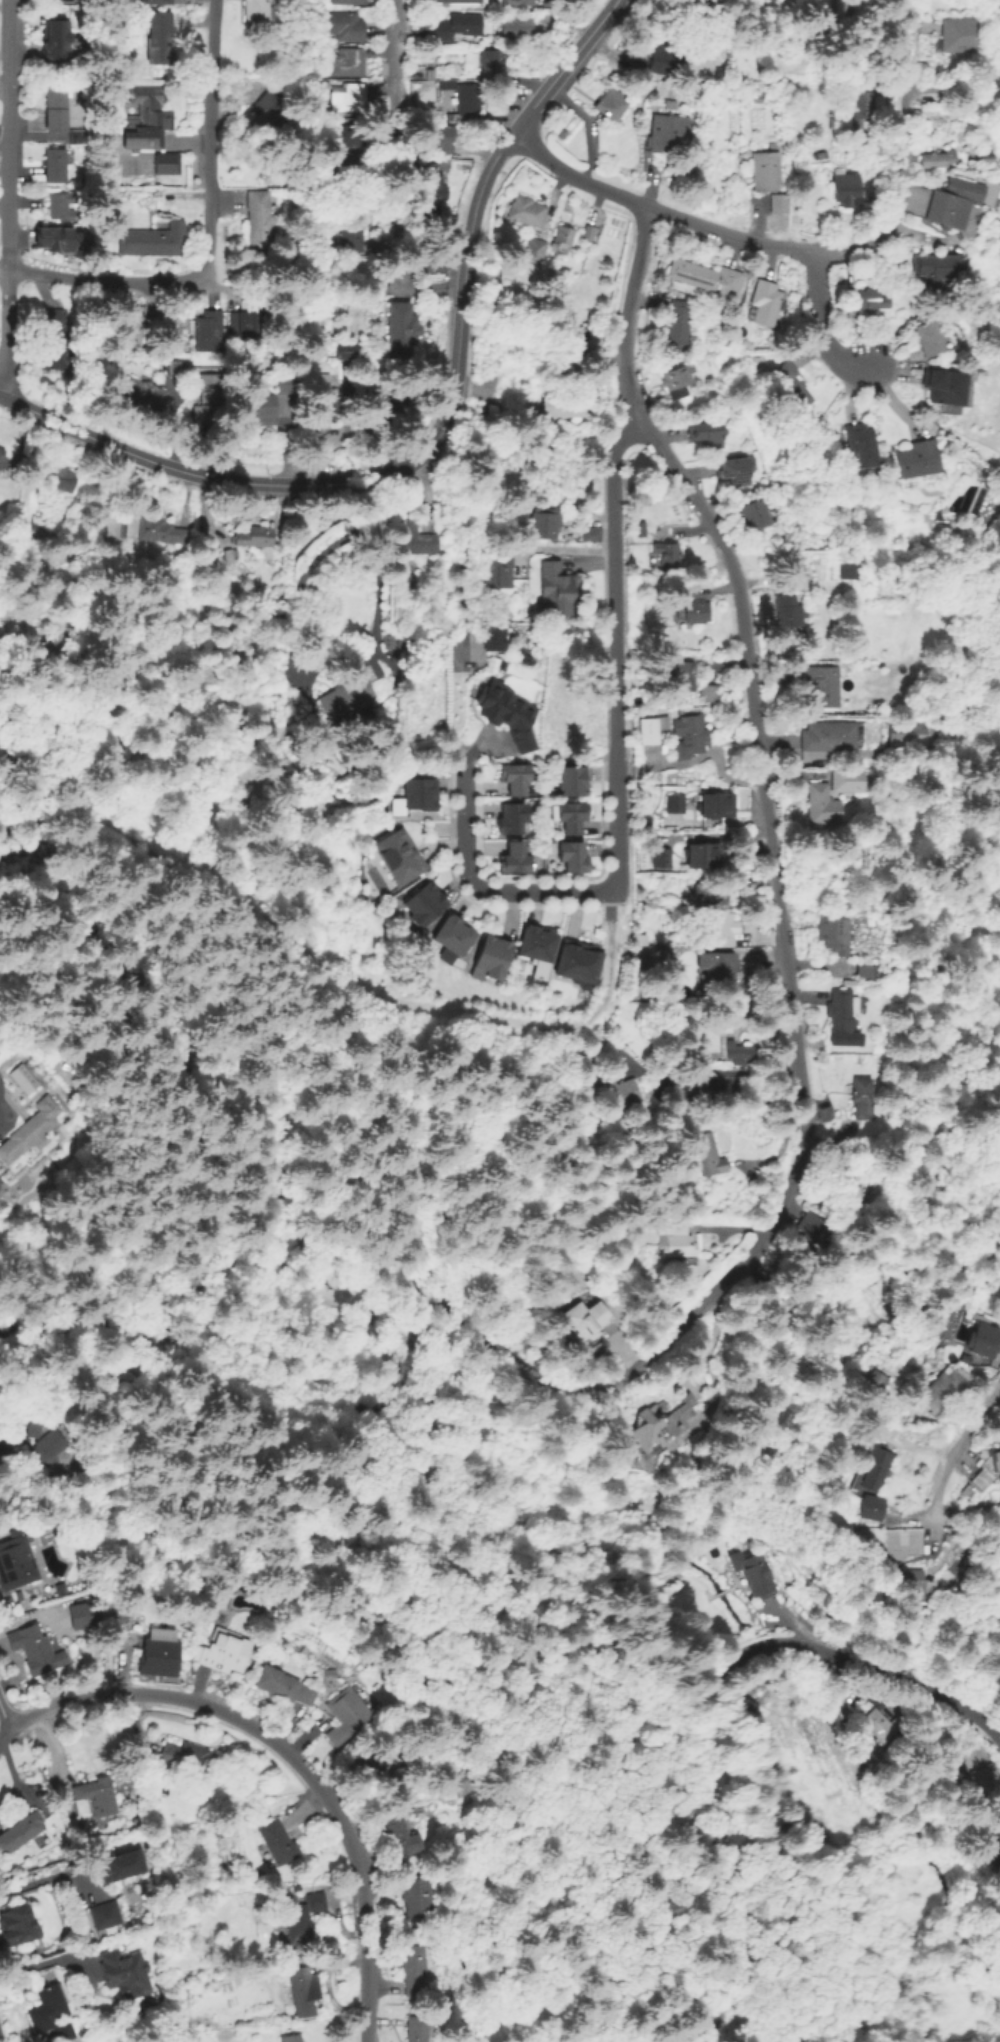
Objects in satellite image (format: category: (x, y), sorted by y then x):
building: (454, 0)
building: (150, 1)
building: (348, 1)
building: (514, 3)
building: (255, 10)
building: (707, 17)
building: (342, 25)
building: (456, 25)
building: (516, 25)
building: (957, 30)
building: (158, 36)
building: (54, 40)
building: (654, 56)
road: (394, 57)
building: (349, 63)
building: (490, 63)
building: (321, 82)
building: (984, 84)
road: (4, 88)
building: (350, 97)
building: (466, 101)
building: (864, 102)
building: (610, 103)
building: (55, 107)
building: (269, 112)
building: (146, 118)
building: (667, 128)
building: (346, 134)
building: (79, 135)
road: (209, 136)
building: (437, 136)
building: (938, 155)
building: (166, 163)
building: (54, 164)
building: (342, 170)
building: (769, 175)
building: (844, 186)
building: (444, 191)
road: (7, 193)
building: (430, 195)
building: (954, 200)
building: (776, 201)
building: (62, 208)
building: (526, 211)
building: (257, 219)
building: (588, 233)
building: (350, 238)
building: (563, 238)
building: (152, 239)
building: (55, 242)
building: (535, 249)
road: (804, 251)
building: (928, 269)
road: (3, 270)
building: (706, 275)
road: (105, 283)
road: (421, 285)
building: (870, 299)
building: (764, 301)
building: (851, 318)
road: (818, 321)
building: (129, 322)
building: (249, 322)
building: (677, 323)
building: (400, 327)
building: (208, 329)
building: (927, 334)
building: (56, 340)
building: (579, 343)
building: (344, 349)
building: (174, 368)
building: (676, 379)
building: (286, 382)
building: (790, 384)
building: (947, 386)
building: (142, 392)
building: (208, 396)
building: (325, 400)
building: (383, 402)
building: (550, 404)
building: (260, 408)
building: (573, 410)
road: (439, 426)
building: (706, 430)
building: (861, 441)
building: (17, 457)
building: (916, 457)
building: (734, 467)
building: (63, 483)
building: (754, 511)
building: (544, 524)
building: (37, 526)
building: (143, 526)
building: (591, 533)
building: (412, 537)
building: (256, 538)
road: (560, 548)
building: (665, 551)
building: (227, 554)
building: (499, 573)
building: (557, 590)
building: (695, 610)
building: (790, 611)
building: (492, 640)
road: (615, 658)
building: (682, 671)
road: (333, 674)
building: (822, 683)
building: (709, 692)
building: (344, 694)
building: (506, 715)
building: (651, 728)
building: (909, 731)
building: (829, 735)
building: (689, 736)
building: (847, 780)
building: (515, 782)
building: (570, 782)
building: (419, 796)
building: (821, 803)
building: (676, 805)
building: (715, 808)
building: (572, 819)
building: (511, 820)
building: (697, 858)
building: (399, 859)
building: (660, 859)
building: (573, 860)
building: (514, 863)
road: (26, 876)
road: (37, 877)
road: (8, 884)
road: (477, 886)
building: (710, 897)
road: (611, 905)
building: (423, 907)
building: (854, 909)
building: (723, 929)
road: (777, 933)
building: (837, 933)
building: (452, 940)
building: (537, 949)
building: (493, 961)
building: (723, 962)
building: (577, 965)
building: (858, 968)
road: (274, 989)
road: (368, 998)
building: (841, 1010)
road: (202, 1040)
building: (740, 1051)
building: (20, 1077)
building: (618, 1092)
building: (861, 1093)
building: (869, 1109)
building: (29, 1131)
road: (170, 1139)
building: (708, 1154)
road: (453, 1182)
building: (852, 1184)
building: (810, 1230)
building: (677, 1242)
road: (290, 1254)
road: (248, 1266)
road: (384, 1271)
road: (204, 1272)
building: (779, 1294)
building: (999, 1295)
road: (186, 1305)
road: (365, 1311)
building: (586, 1322)
building: (983, 1346)
road: (430, 1375)
road: (495, 1375)
building: (875, 1380)
building: (942, 1389)
road: (418, 1394)
building: (657, 1425)
road: (244, 1435)
building: (39, 1443)
road: (191, 1448)
road: (954, 1452)
building: (875, 1467)
building: (987, 1468)
road: (204, 1481)
building: (968, 1490)
building: (871, 1506)
road: (925, 1541)
building: (16, 1563)
building: (751, 1572)
building: (922, 1589)
road: (104, 1602)
building: (79, 1614)
building: (120, 1617)
road: (636, 1639)
building: (160, 1649)
building: (35, 1650)
building: (222, 1652)
road: (732, 1663)
building: (283, 1684)
building: (751, 1701)
road: (968, 1708)
building: (346, 1716)
road: (4, 1719)
road: (636, 1720)
building: (878, 1724)
road: (286, 1752)
building: (186, 1755)
building: (396, 1756)
building: (467, 1776)
building: (974, 1786)
building: (94, 1796)
building: (20, 1831)
building: (400, 1834)
building: (278, 1842)
building: (996, 1857)
building: (123, 1864)
road: (46, 1877)
building: (417, 1896)
building: (107, 1914)
building: (303, 1919)
building: (15, 1925)
road: (744, 1953)
road: (47, 1959)
building: (416, 1969)
building: (125, 1973)
building: (304, 1990)
building: (51, 2012)
building: (417, 2028)
building: (290, 2038)

